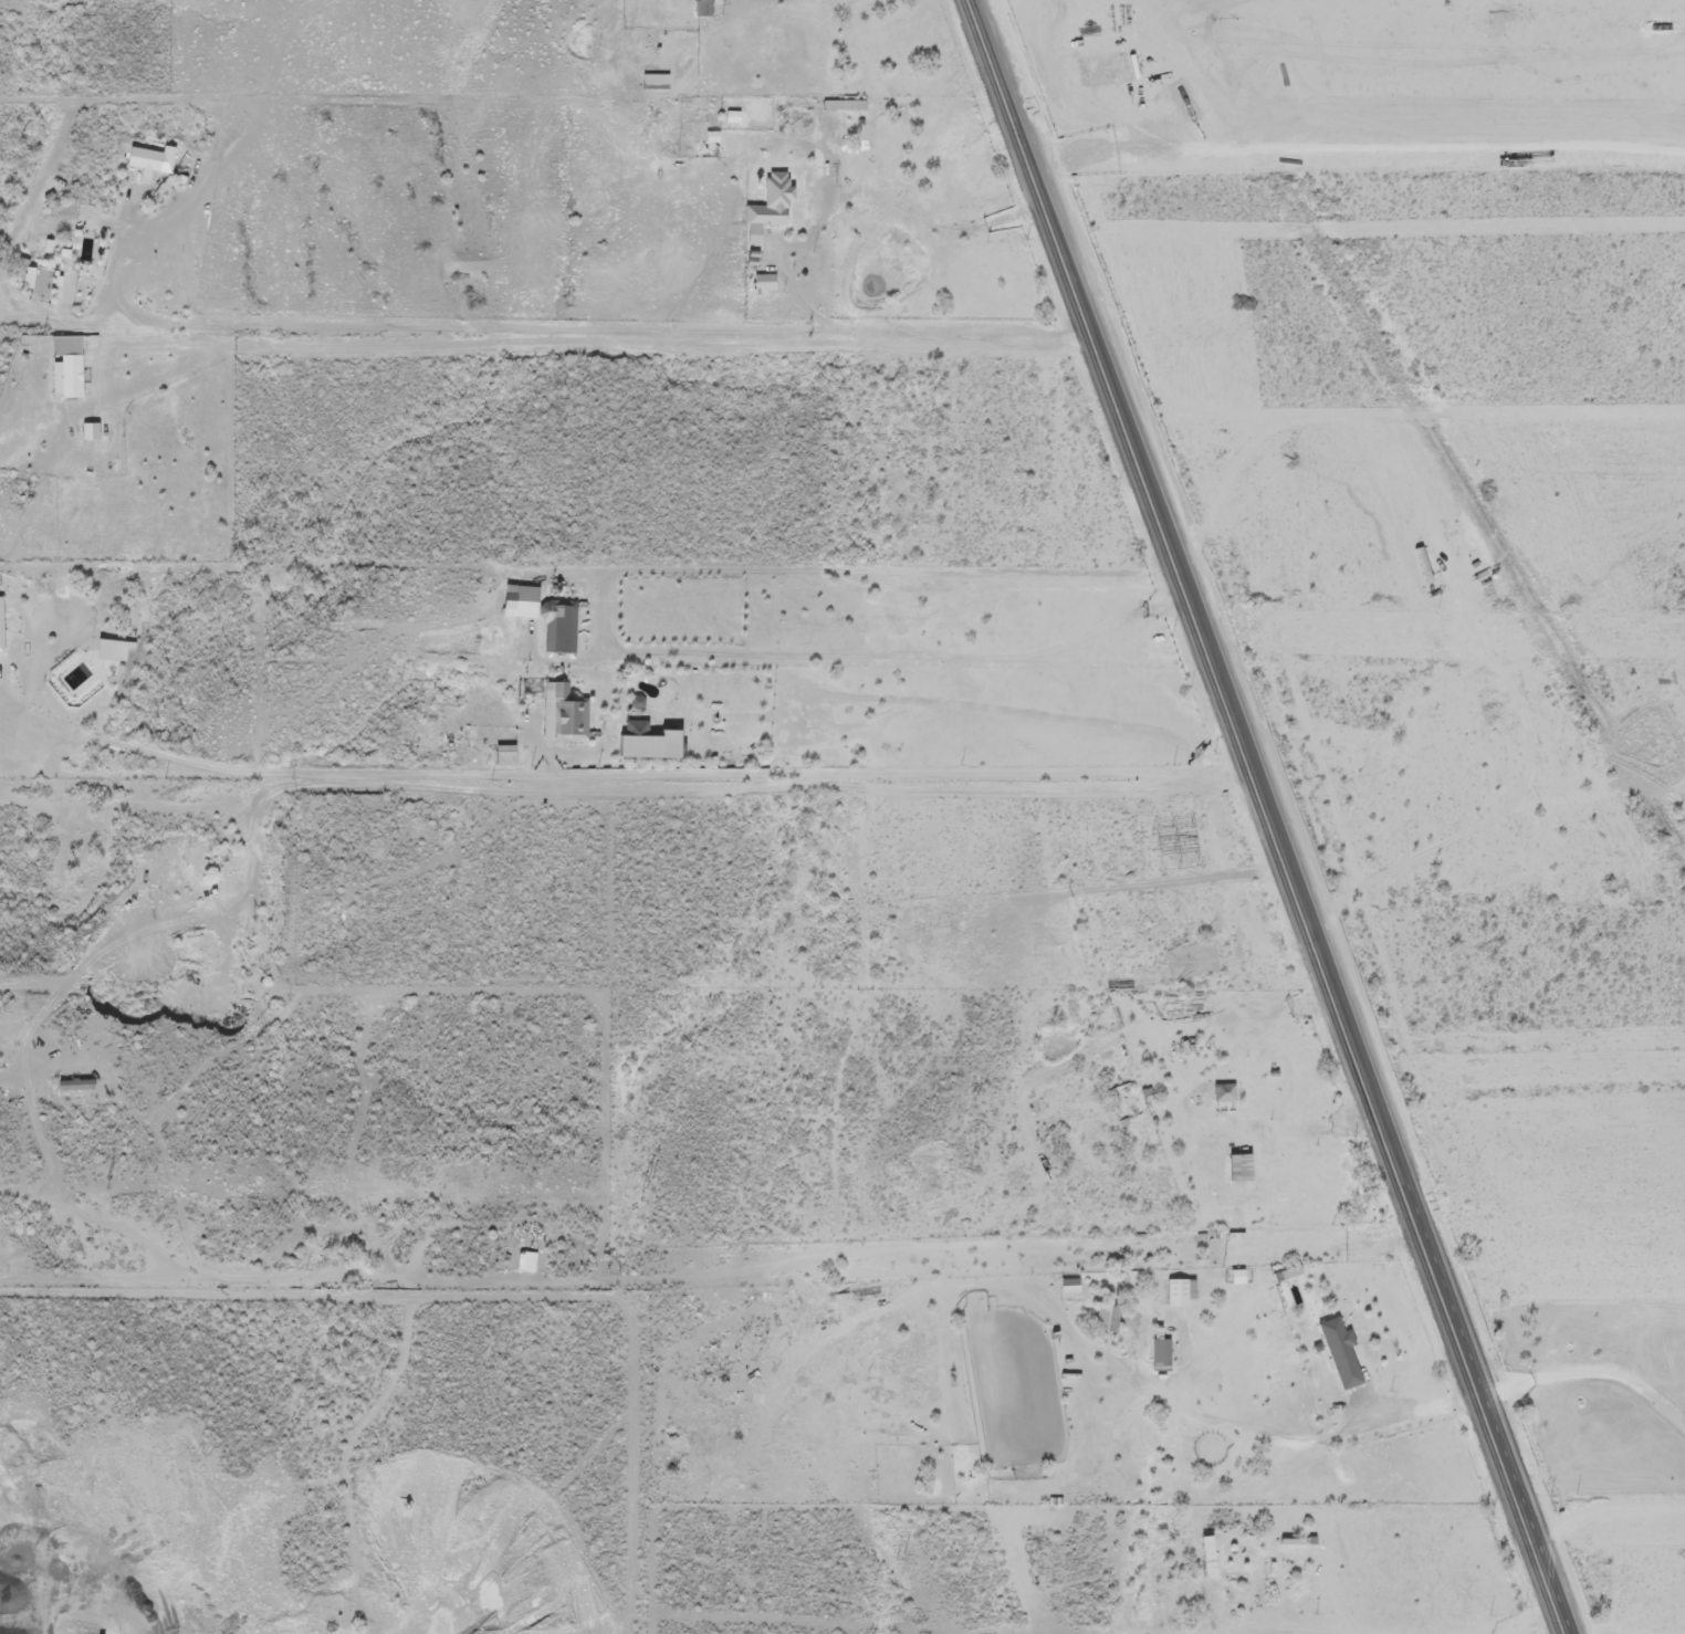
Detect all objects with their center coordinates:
building: (697, 9)
building: (137, 161)
building: (765, 205)
building: (72, 248)
road: (119, 261)
building: (61, 379)
road: (419, 618)
building: (552, 630)
building: (562, 722)
building: (629, 731)
building: (499, 758)
road: (1260, 817)
building: (1185, 962)
building: (69, 1087)
road: (840, 1088)
building: (1216, 1094)
building: (1232, 1170)
power tower: (116, 1184)
power tower: (655, 1190)
building: (1063, 1288)
building: (1169, 1295)
road: (1566, 1296)
building: (1100, 1320)
building: (1152, 1334)
building: (1333, 1355)
power tower: (908, 1558)
building: (1200, 1559)

